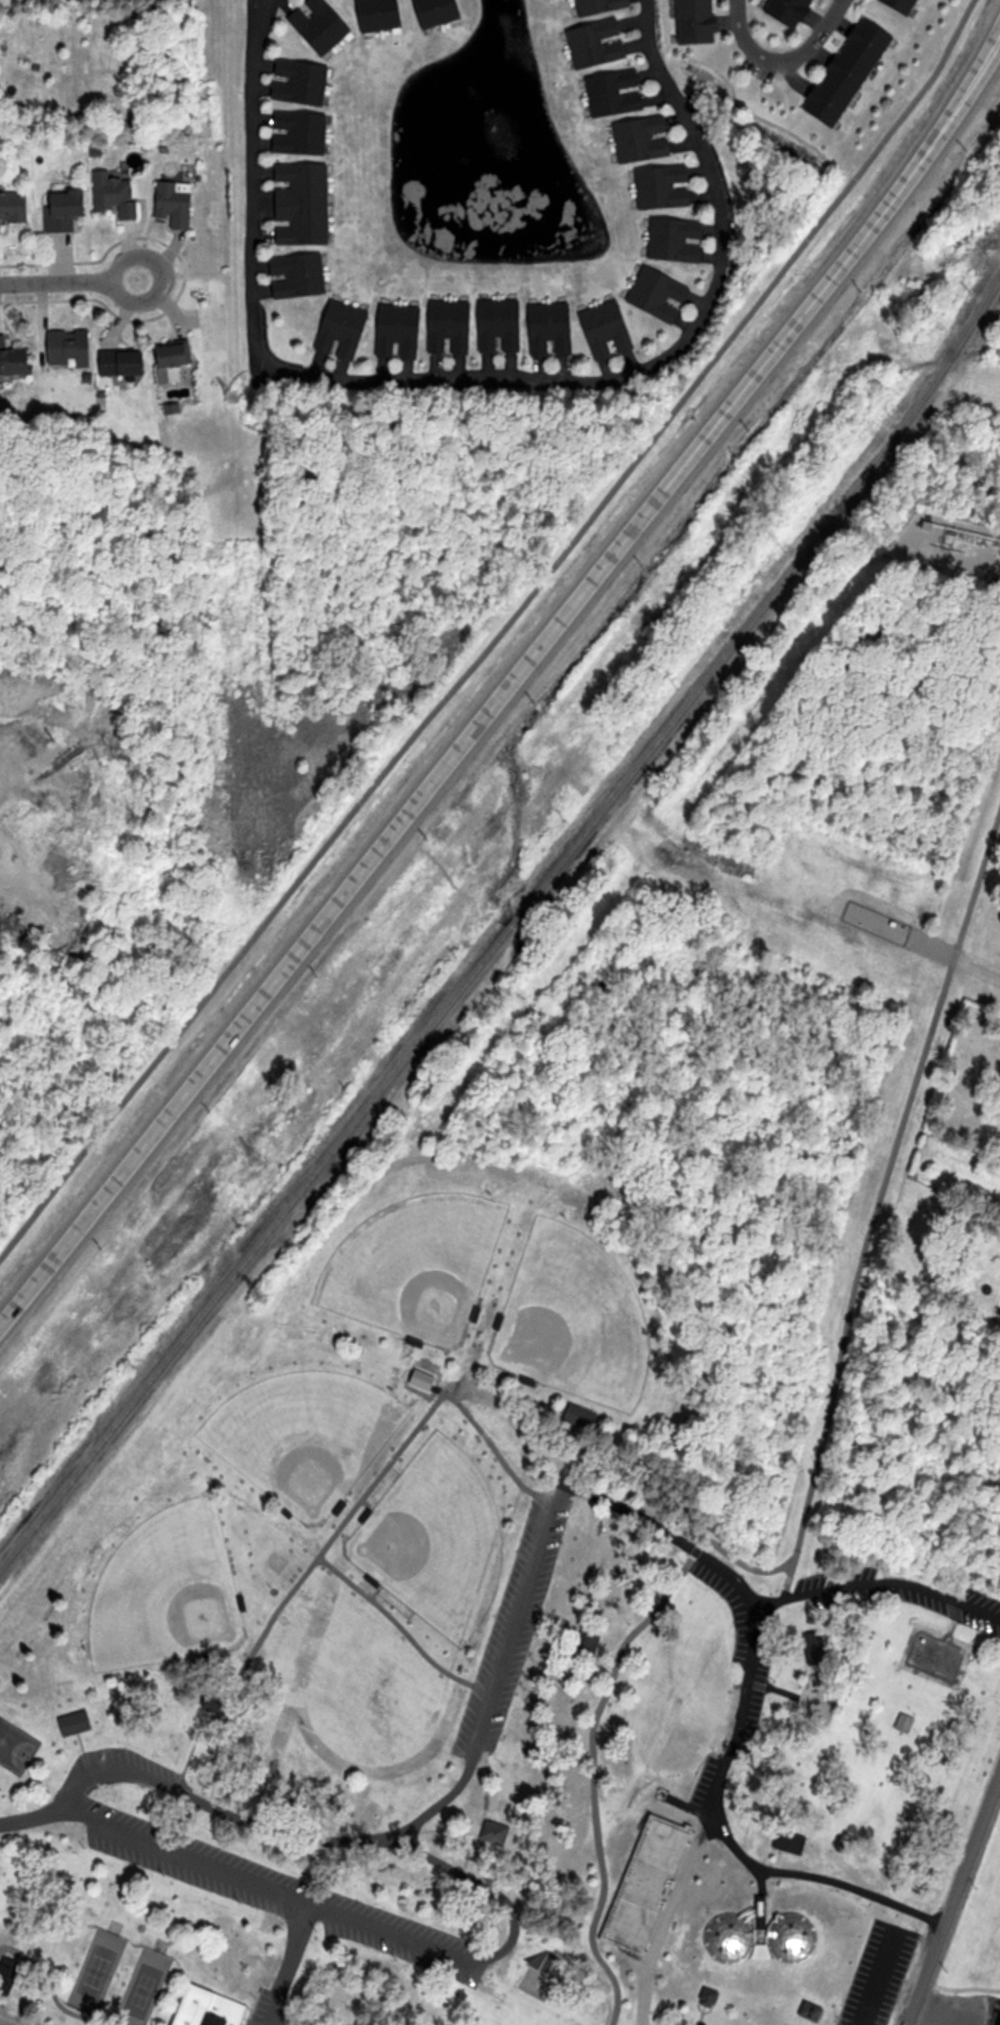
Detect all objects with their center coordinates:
building: (601, 6)
building: (904, 6)
building: (440, 13)
building: (382, 15)
building: (322, 25)
building: (599, 44)
road: (783, 62)
building: (851, 72)
building: (303, 82)
building: (618, 93)
building: (303, 133)
building: (645, 139)
building: (666, 187)
building: (118, 193)
building: (178, 204)
building: (304, 204)
building: (15, 209)
building: (68, 209)
building: (678, 239)
building: (301, 276)
road: (83, 277)
building: (662, 294)
building: (501, 327)
building: (451, 328)
building: (553, 330)
building: (344, 331)
building: (609, 331)
building: (401, 332)
building: (73, 348)
building: (177, 357)
building: (18, 361)
building: (127, 363)
road: (470, 378)
power tower: (230, 403)
road: (498, 637)
road: (509, 685)
power tower: (250, 875)
power tower: (541, 912)
railway: (507, 929)
power tower: (496, 935)
power tower: (255, 1161)
road: (872, 1201)
park: (416, 1268)
power tower: (261, 1303)
park: (573, 1322)
building: (418, 1380)
park: (287, 1427)
park: (543, 1546)
road: (894, 1581)
park: (229, 1591)
building: (825, 1637)
building: (217, 1693)
building: (74, 1717)
building: (902, 1725)
park: (14, 1745)
road: (720, 1826)
building: (497, 1830)
road: (160, 1842)
building: (789, 1845)
road: (973, 1849)
building: (648, 1895)
building: (762, 1941)
road: (421, 1951)
road: (934, 1952)
road: (288, 1964)
building: (550, 1964)
road: (920, 1988)
building: (708, 1994)
park: (111, 1999)
building: (209, 2004)
road: (911, 2009)
building: (807, 2014)
park: (62, 2022)

